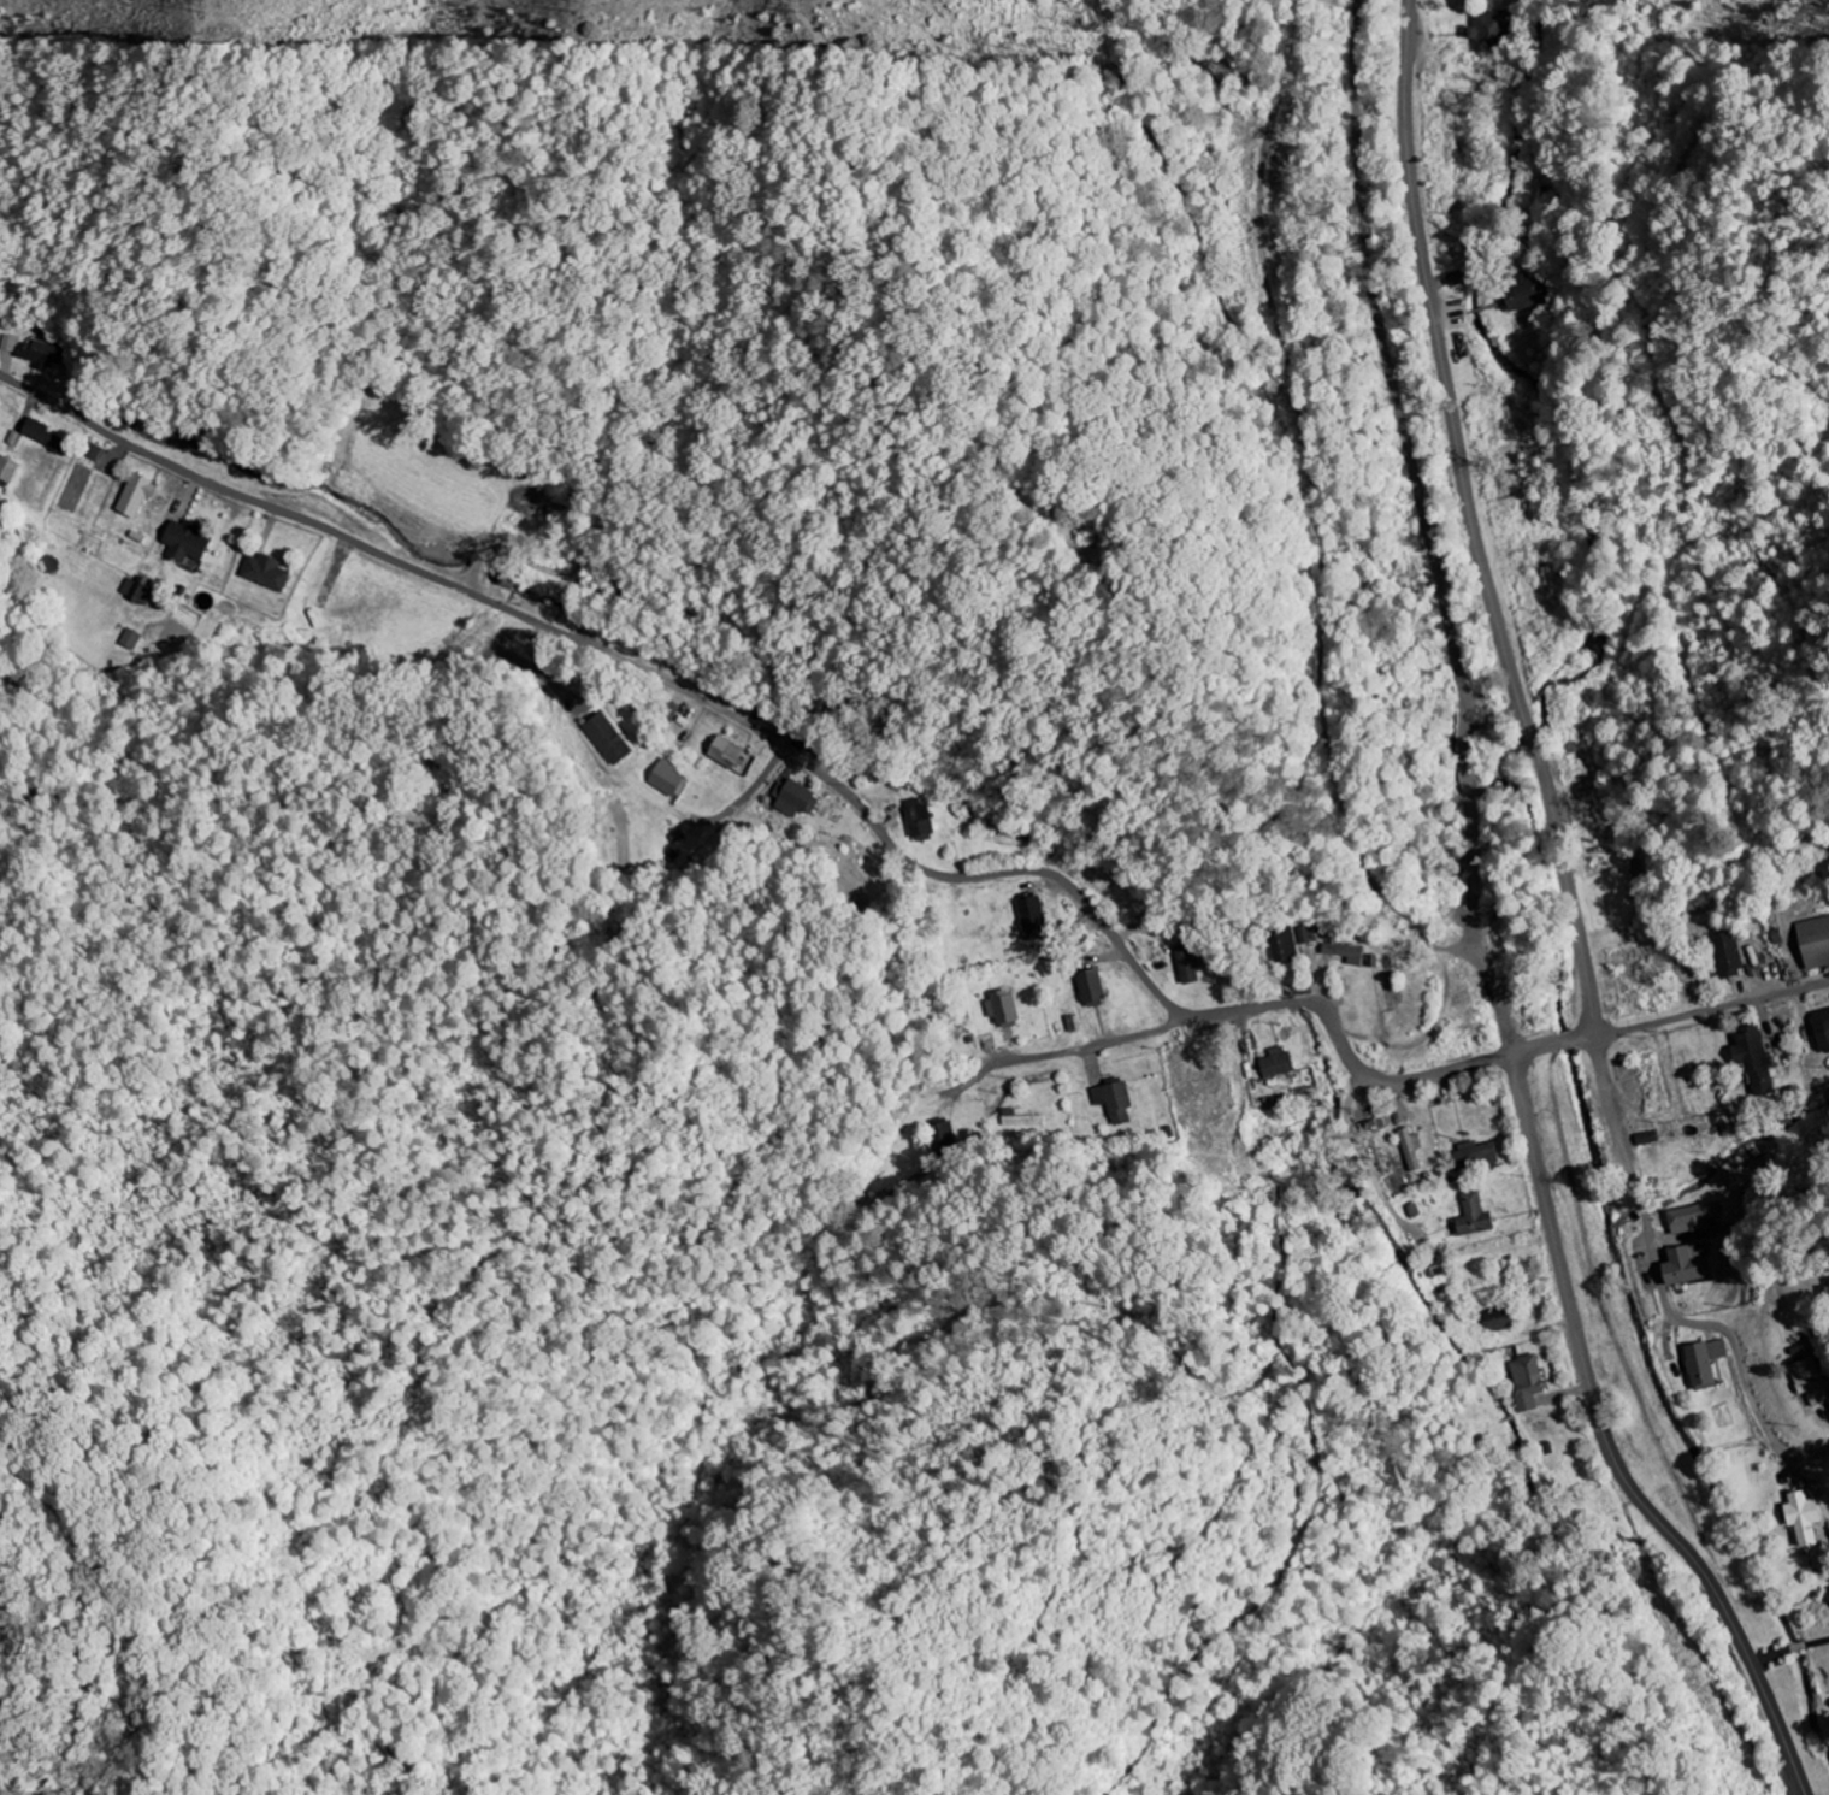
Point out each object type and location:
building: (1494, 31)
building: (1532, 295)
building: (11, 343)
building: (45, 355)
building: (47, 436)
building: (95, 453)
building: (7, 470)
building: (140, 495)
road: (1474, 522)
building: (189, 542)
building: (269, 573)
building: (138, 591)
building: (129, 639)
road: (672, 687)
road: (1742, 697)
building: (608, 739)
building: (727, 754)
building: (667, 778)
building: (793, 801)
building: (921, 820)
building: (1034, 920)
building: (1816, 943)
building: (1285, 947)
building: (1349, 955)
building: (1730, 955)
building: (1188, 964)
building: (1093, 987)
road: (1311, 1005)
building: (1005, 1009)
road: (1715, 1010)
building: (1823, 1029)
road: (1559, 1045)
road: (1081, 1050)
building: (1757, 1061)
building: (1281, 1065)
road: (1409, 1081)
building: (1115, 1102)
building: (943, 1142)
building: (1414, 1150)
building: (1479, 1155)
building: (1476, 1217)
building: (1695, 1218)
building: (1688, 1266)
road: (1664, 1292)
building: (1499, 1319)
building: (1706, 1364)
building: (1813, 1381)
building: (1529, 1383)
road: (1610, 1446)
building: (1806, 1518)

